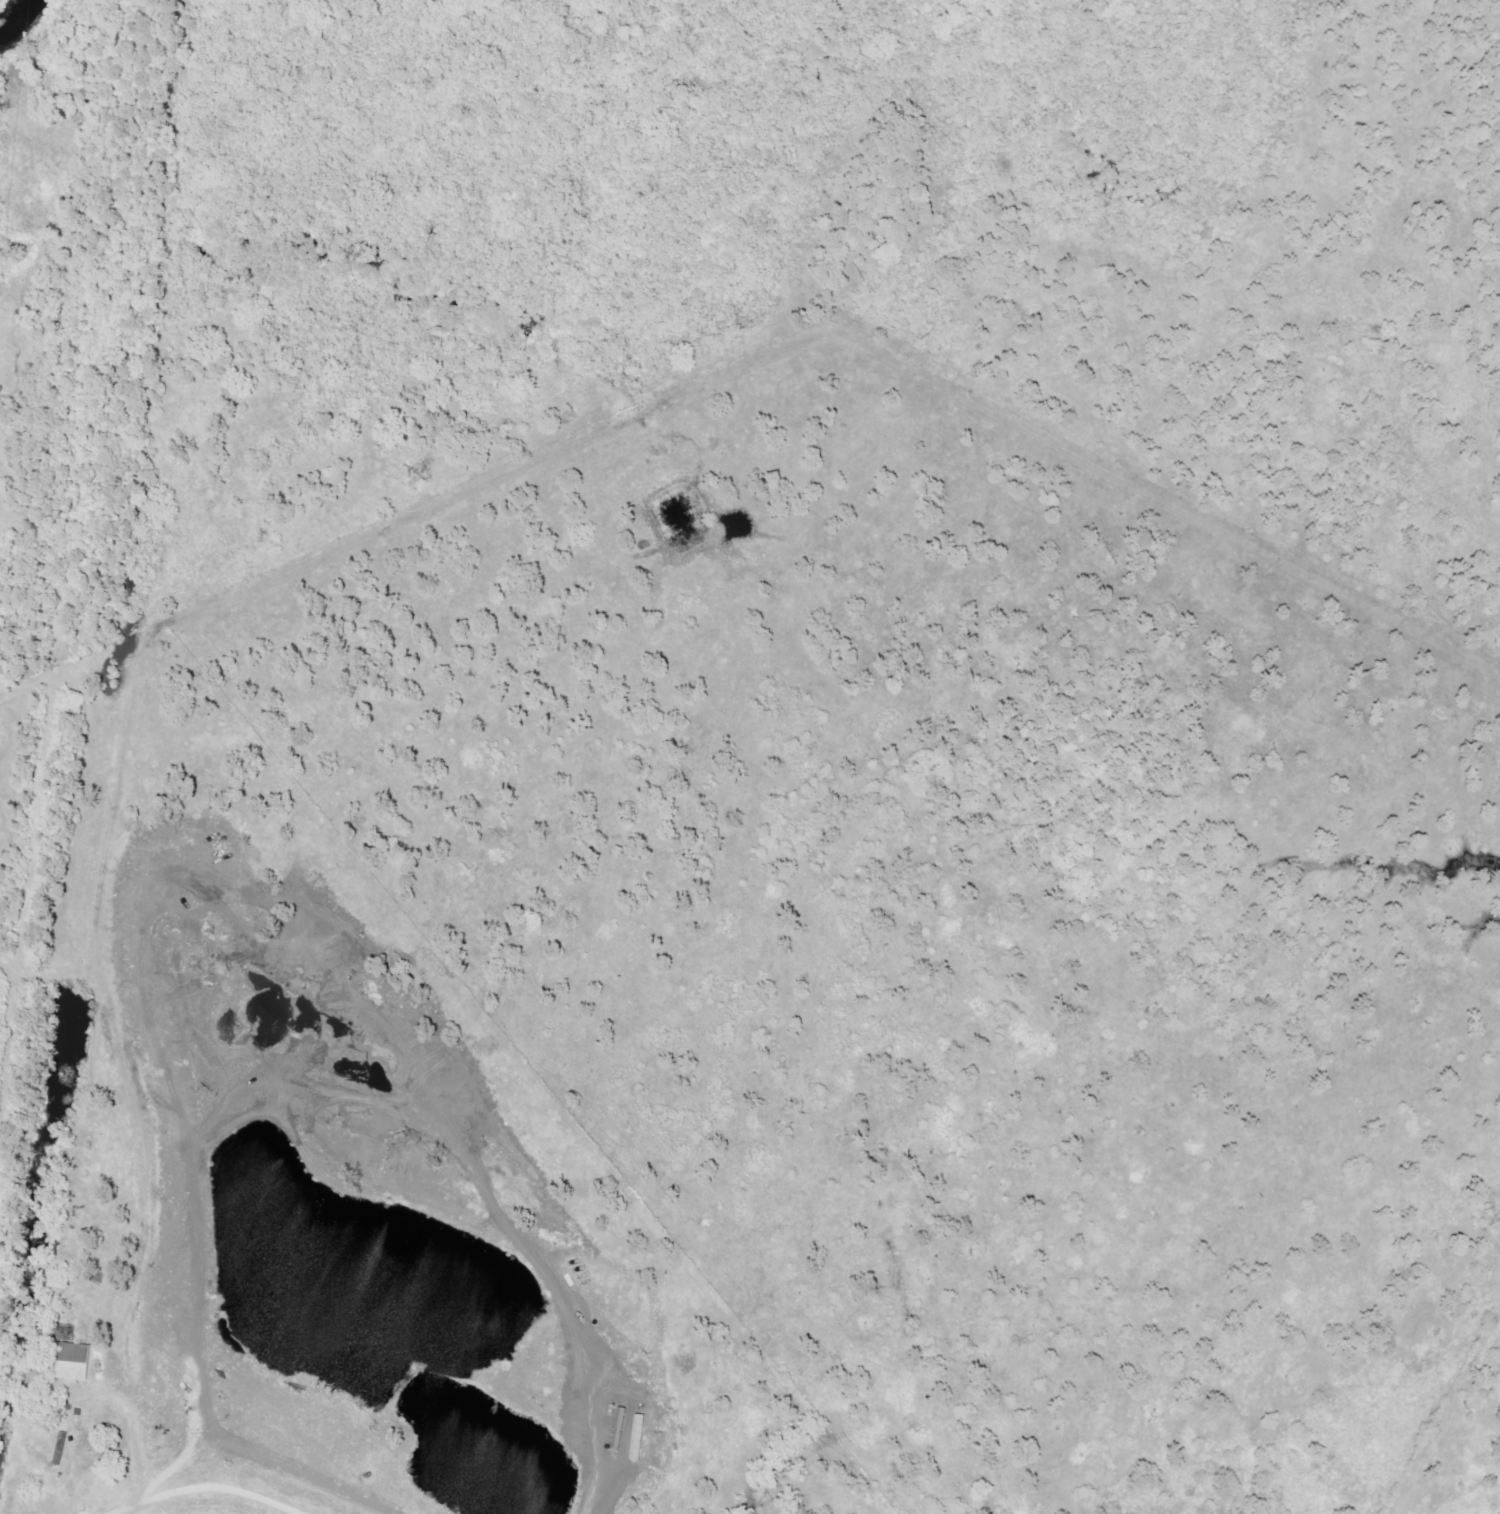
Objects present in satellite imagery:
railway: (72, 564)
building: (74, 1361)
road: (205, 1486)

